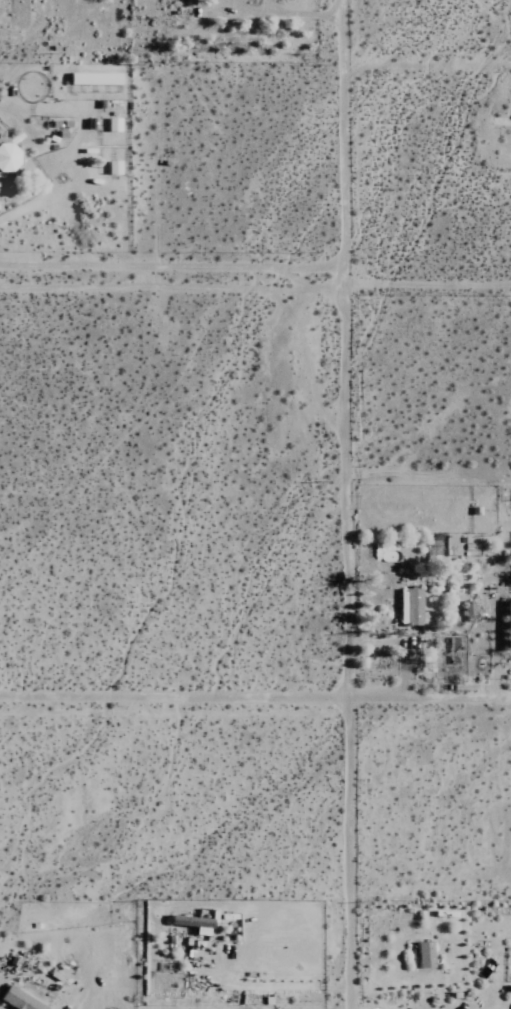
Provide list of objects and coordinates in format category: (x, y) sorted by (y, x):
road: (18, 119)
road: (176, 267)
road: (351, 350)
road: (255, 696)
road: (356, 854)

